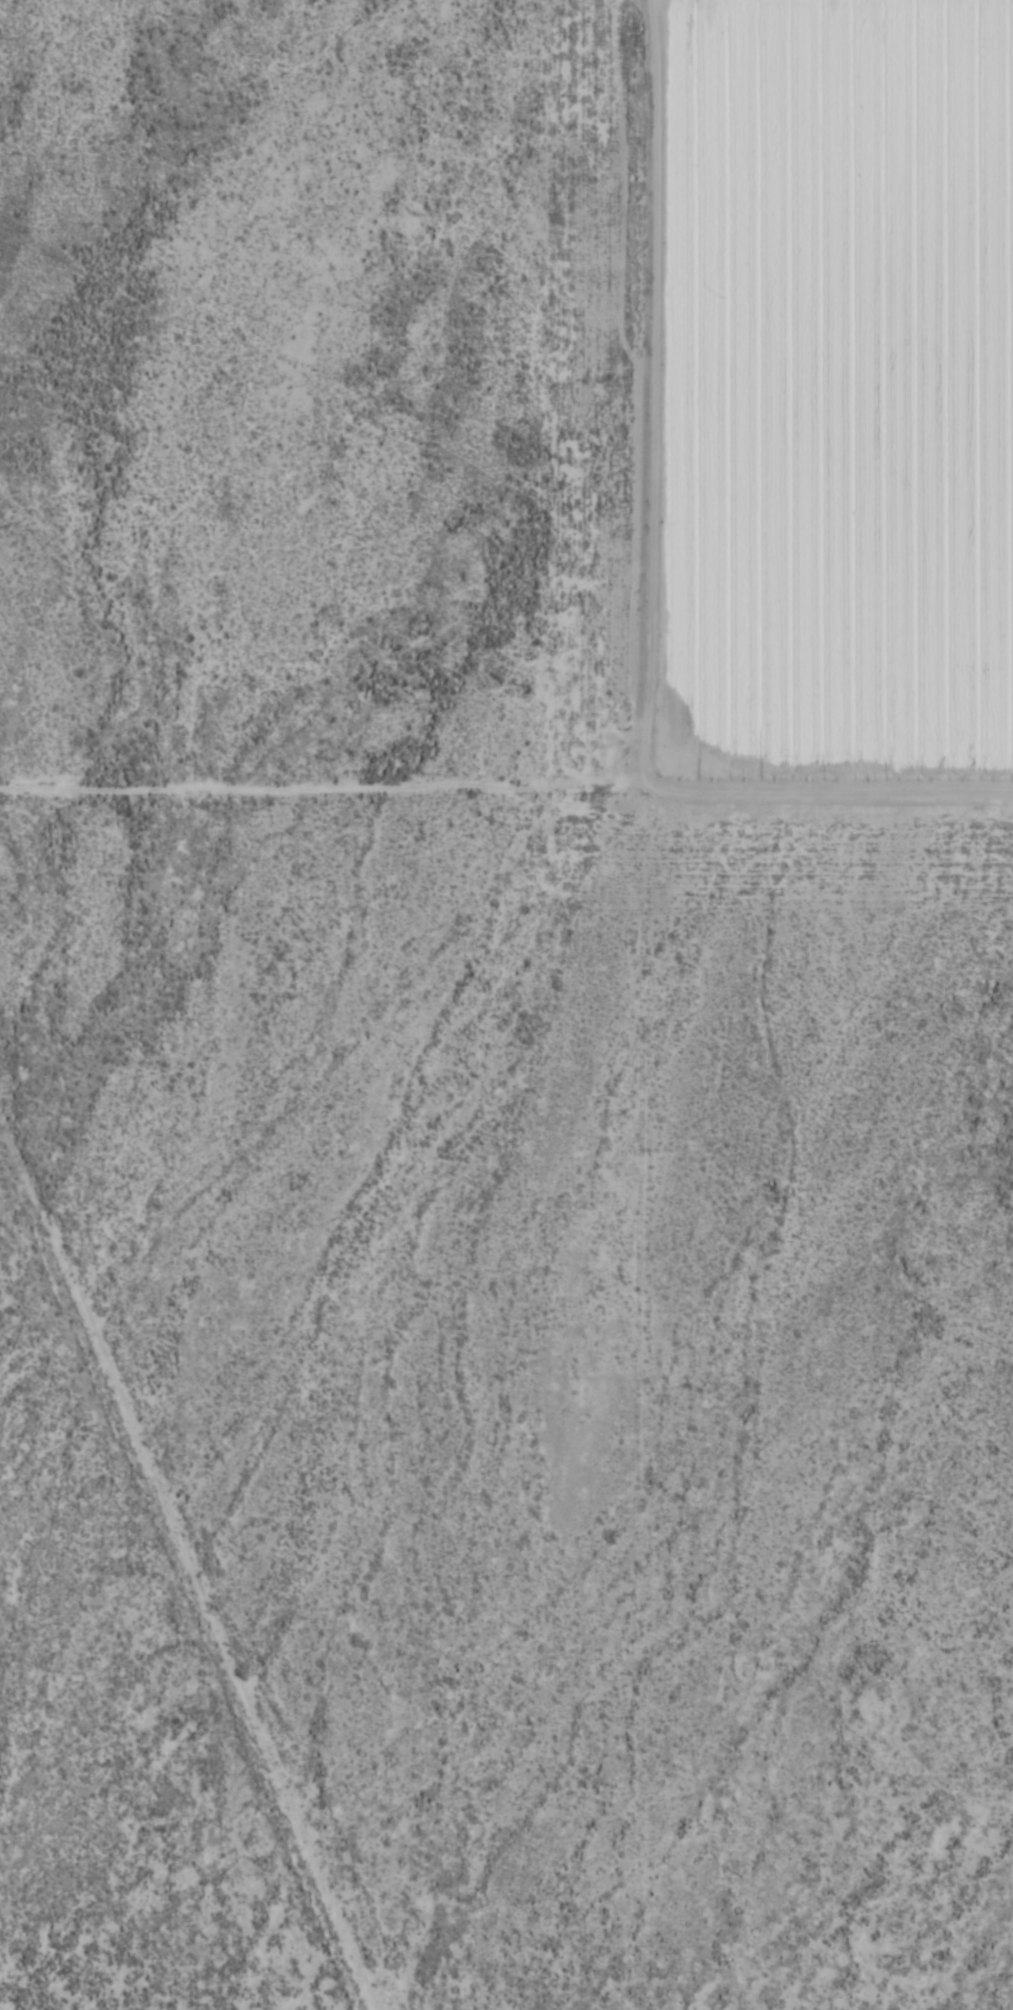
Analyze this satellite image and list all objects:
crop: (506, 1005)
road: (201, 1503)

